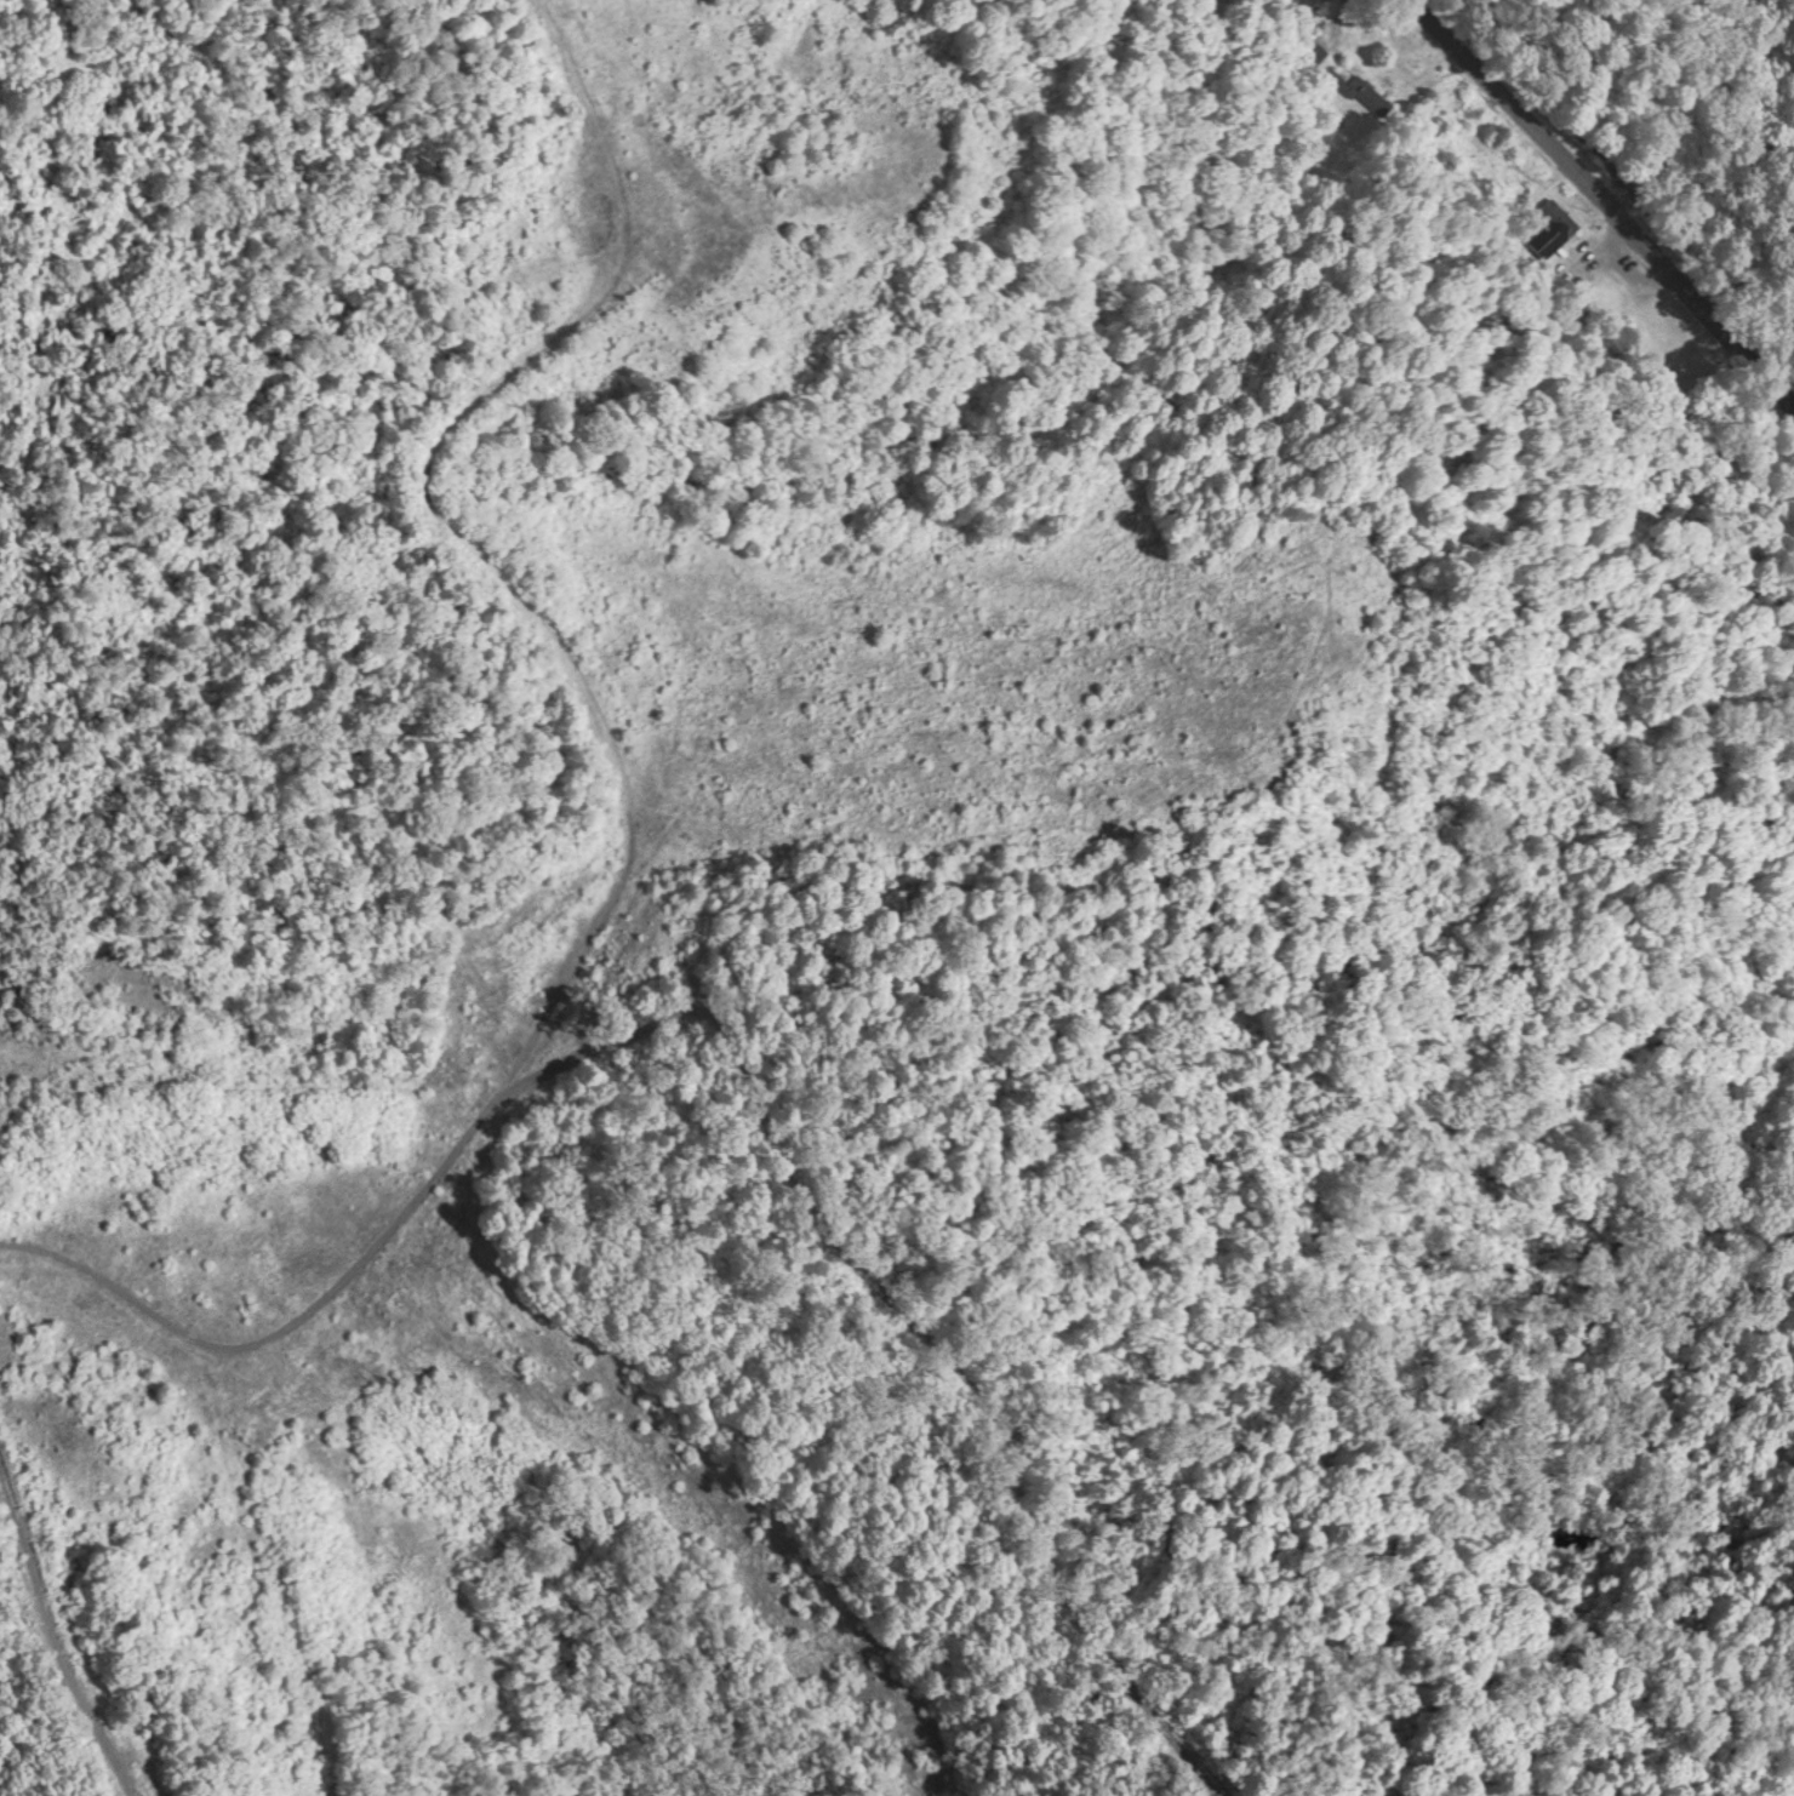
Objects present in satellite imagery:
building: (1358, 85)
building: (1464, 147)
road: (1605, 199)

